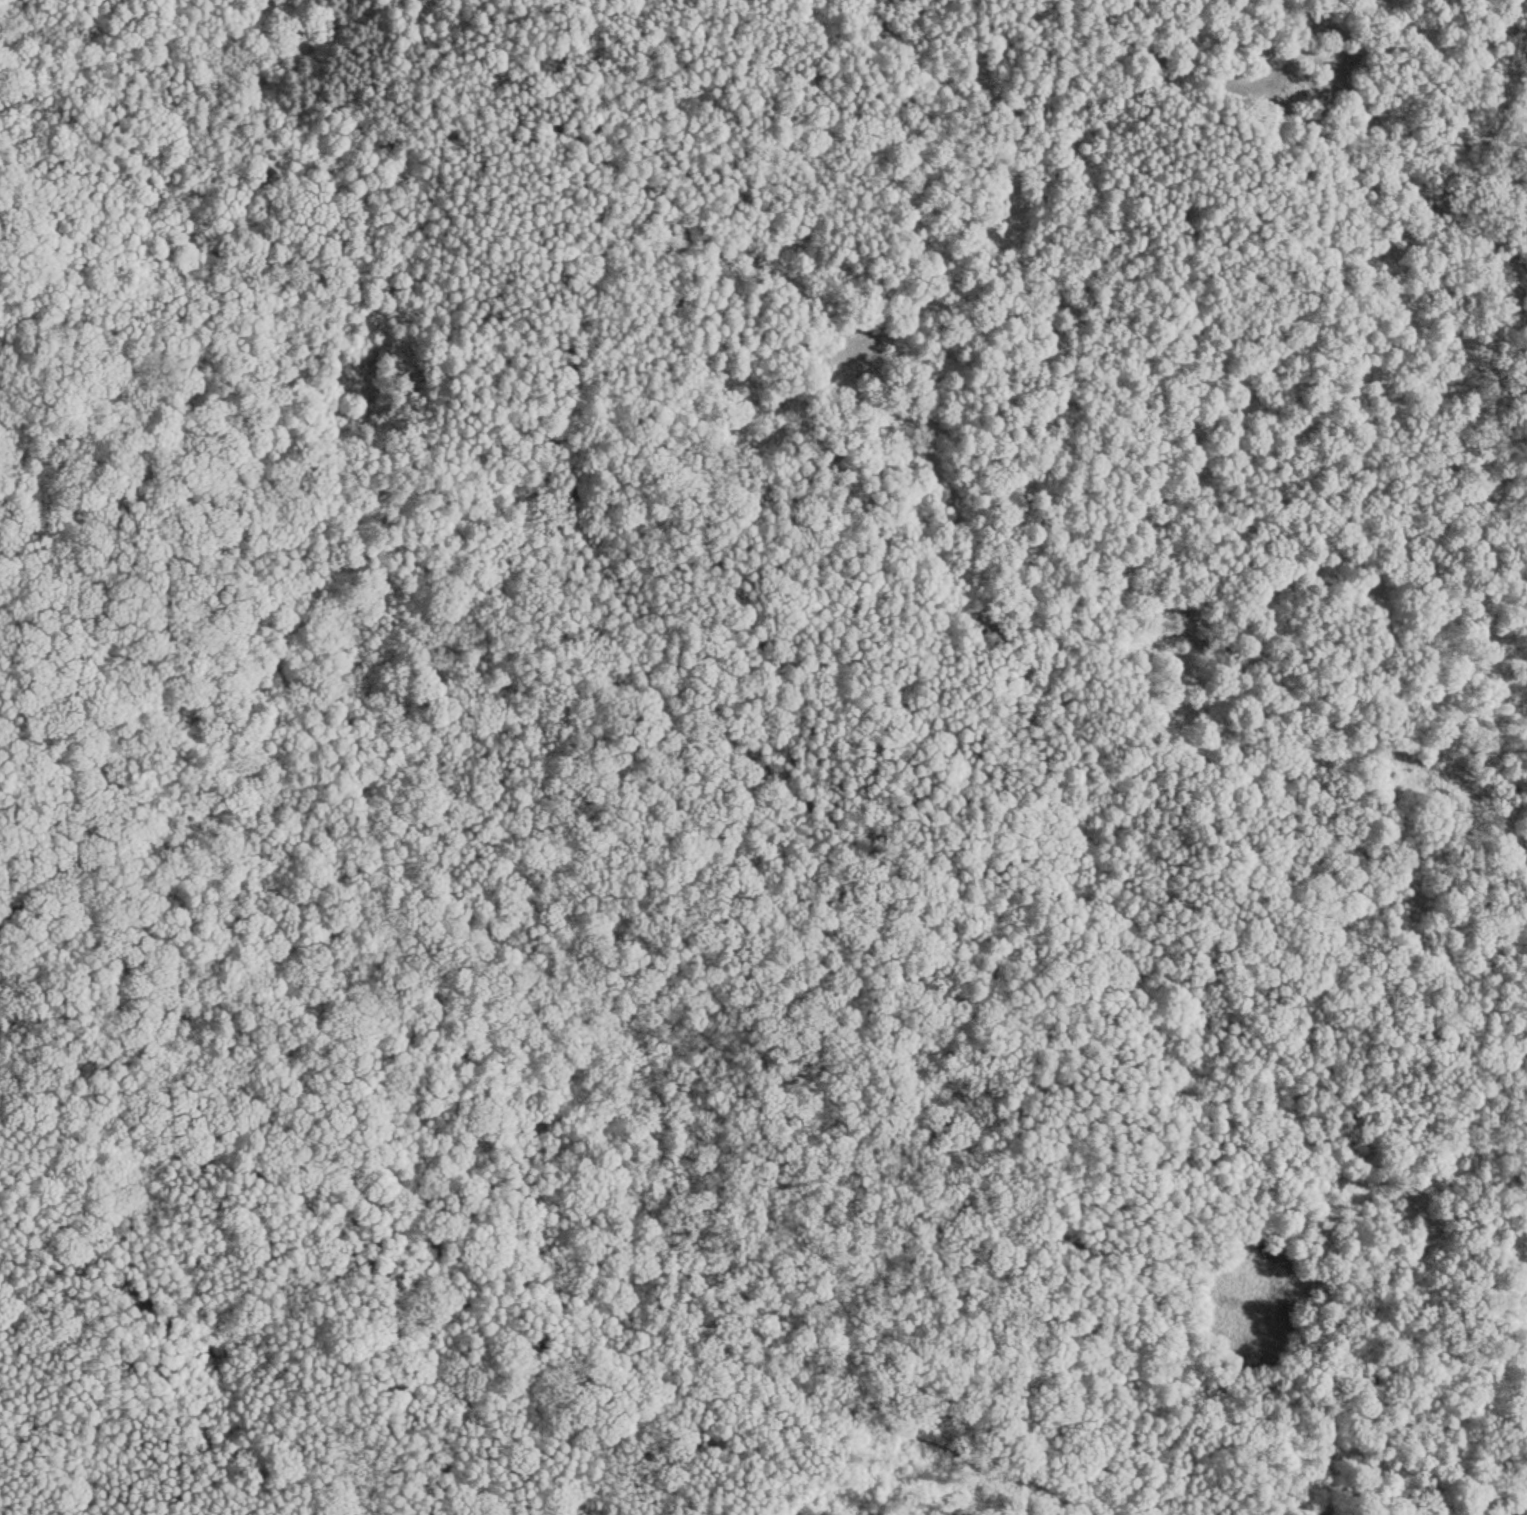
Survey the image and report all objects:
road: (1308, 137)
road: (332, 1212)
road: (683, 1339)

